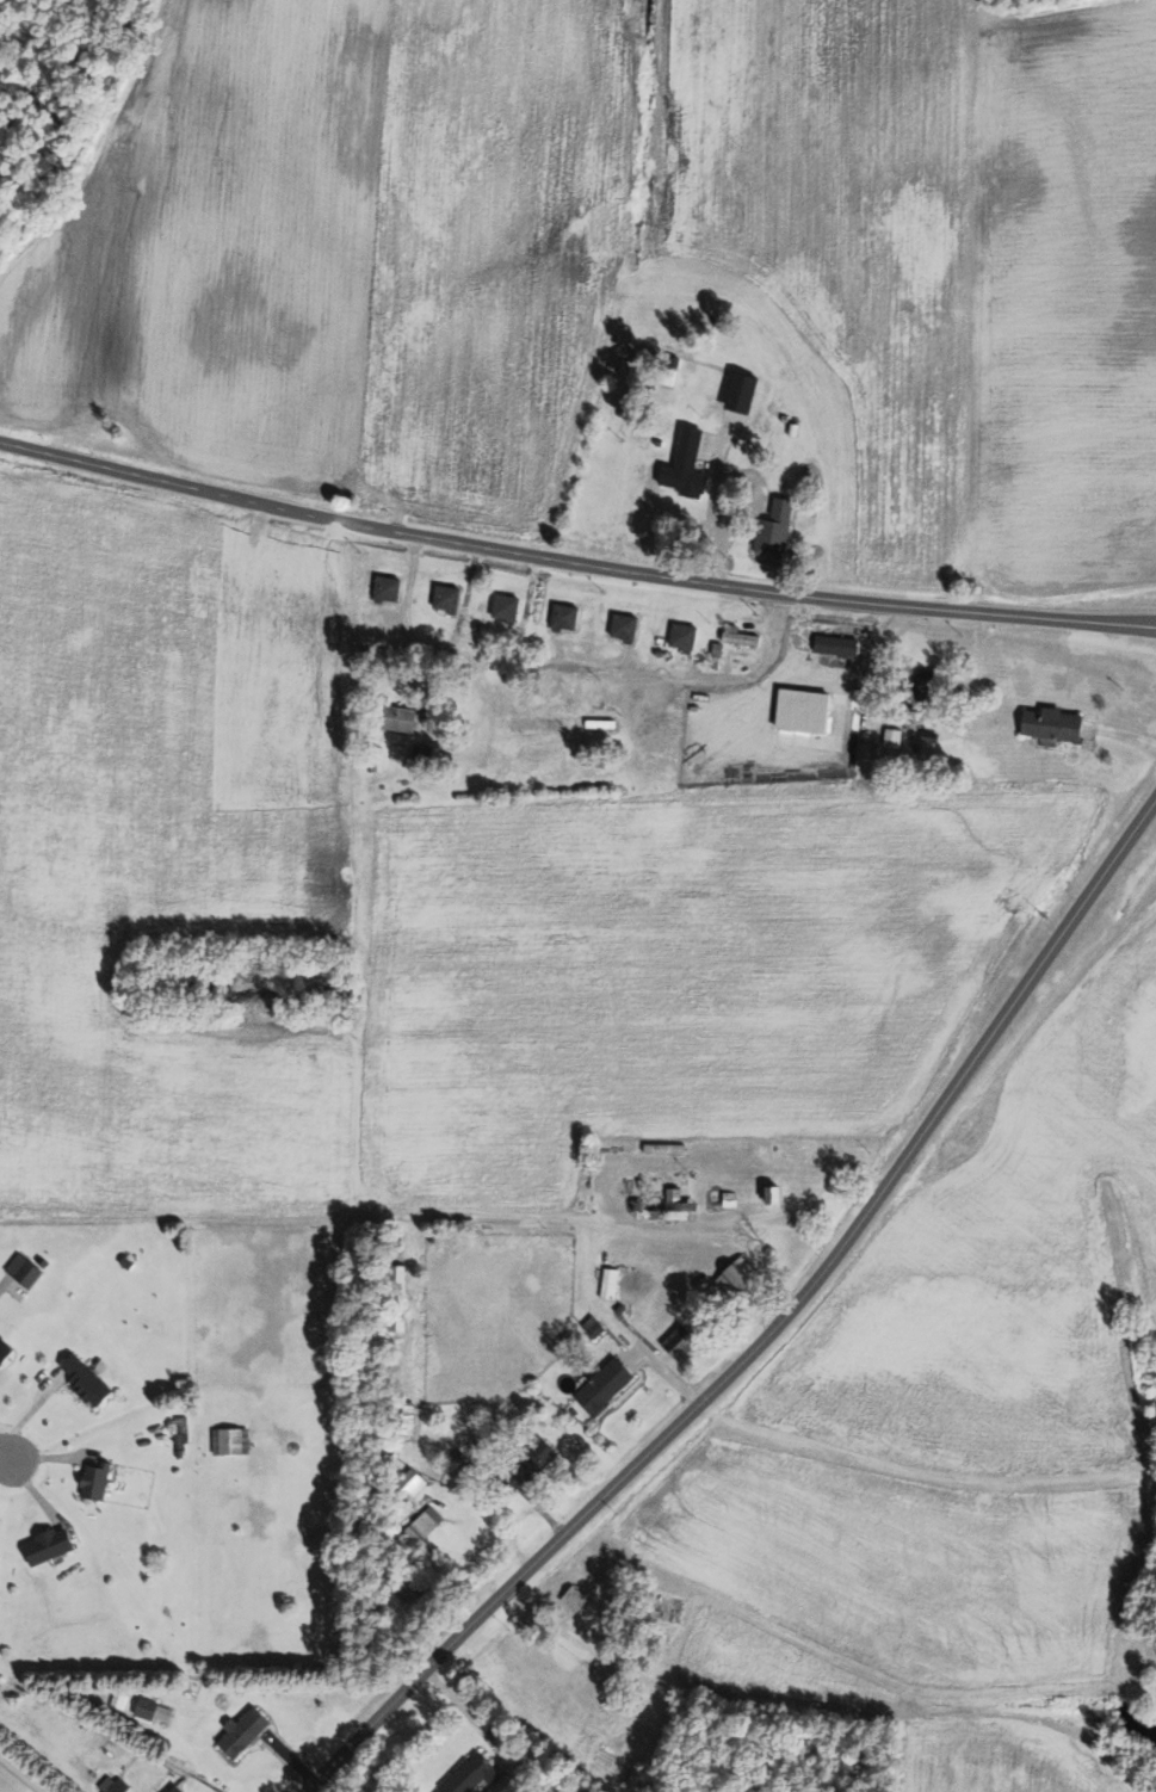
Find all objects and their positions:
building: (680, 466)
building: (771, 530)
road: (573, 563)
building: (382, 587)
building: (441, 597)
building: (501, 607)
building: (560, 616)
building: (619, 625)
building: (678, 636)
building: (832, 644)
road: (574, 669)
building: (917, 690)
building: (798, 709)
building: (392, 717)
building: (1046, 722)
building: (765, 1193)
building: (662, 1206)
building: (19, 1269)
building: (394, 1275)
building: (732, 1275)
building: (392, 1324)
building: (588, 1327)
road: (767, 1328)
building: (676, 1342)
building: (2, 1347)
building: (81, 1380)
building: (599, 1386)
building: (402, 1422)
building: (227, 1440)
road: (2, 1452)
building: (523, 1464)
building: (89, 1481)
building: (407, 1483)
building: (420, 1524)
building: (42, 1545)
building: (570, 1598)
building: (149, 1710)
building: (237, 1731)
building: (465, 1775)
park: (11, 1782)
building: (110, 1784)
building: (168, 1788)

